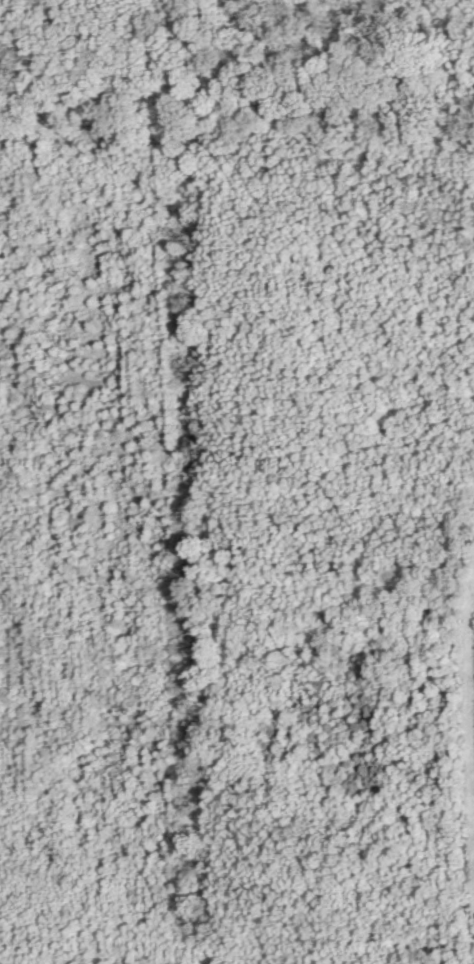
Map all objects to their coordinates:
park: (237, 482)

